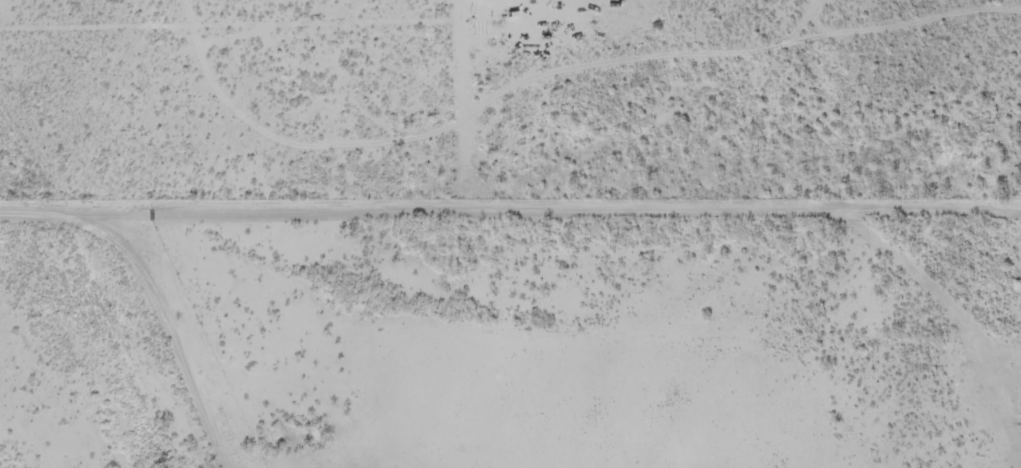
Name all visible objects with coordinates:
road: (406, 140)
road: (268, 281)
road: (666, 326)
road: (925, 403)

